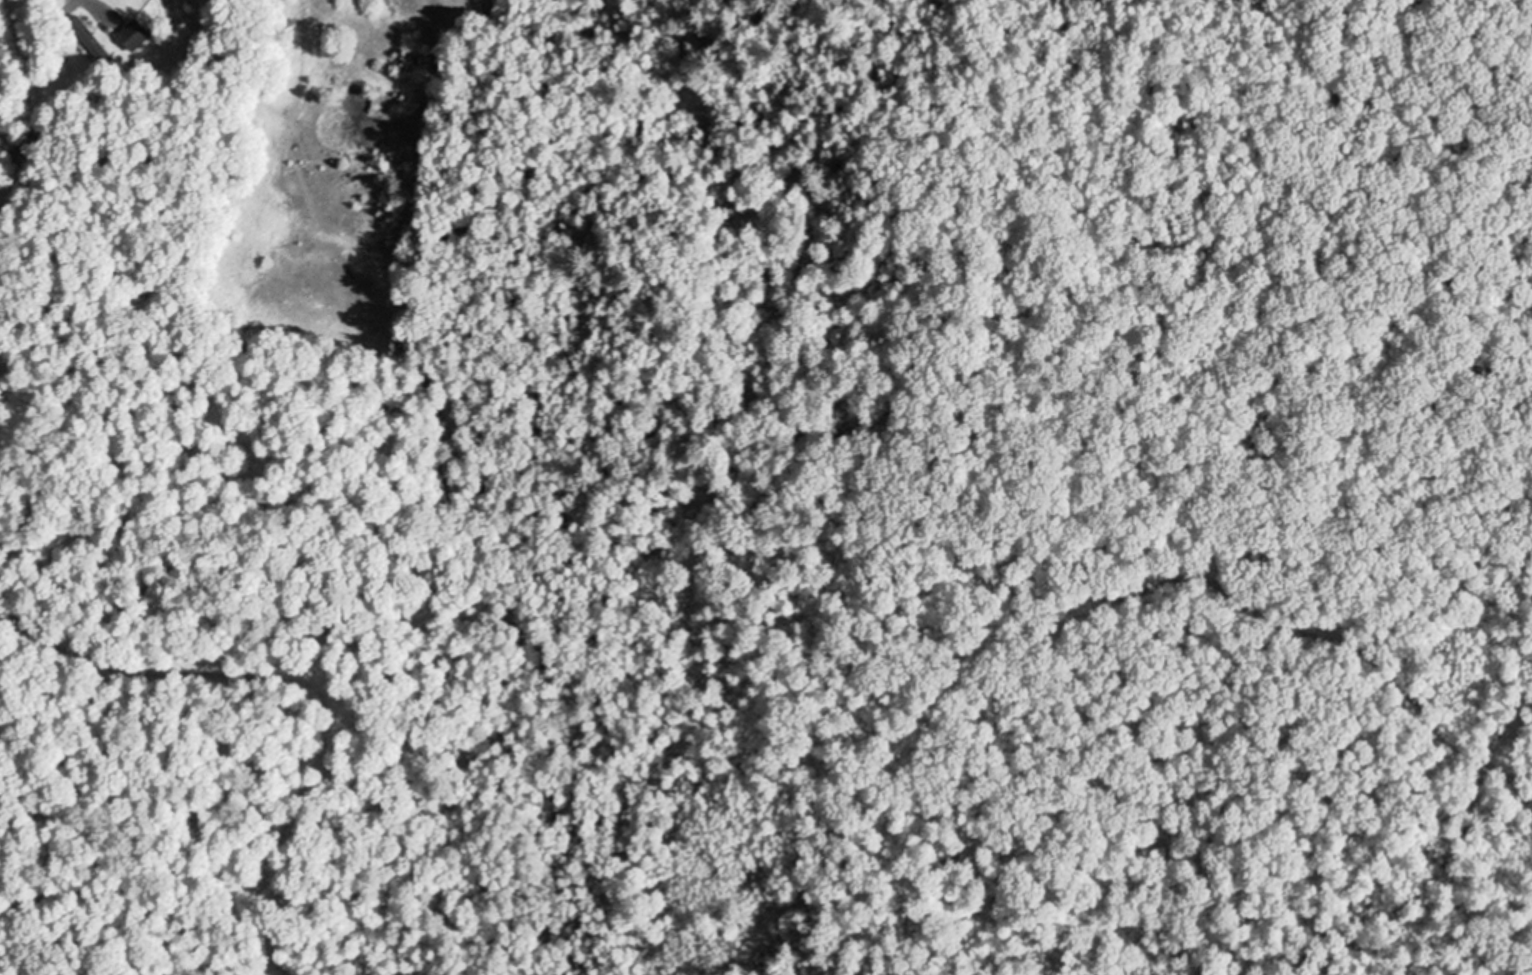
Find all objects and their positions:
road: (82, 1)
building: (140, 33)

